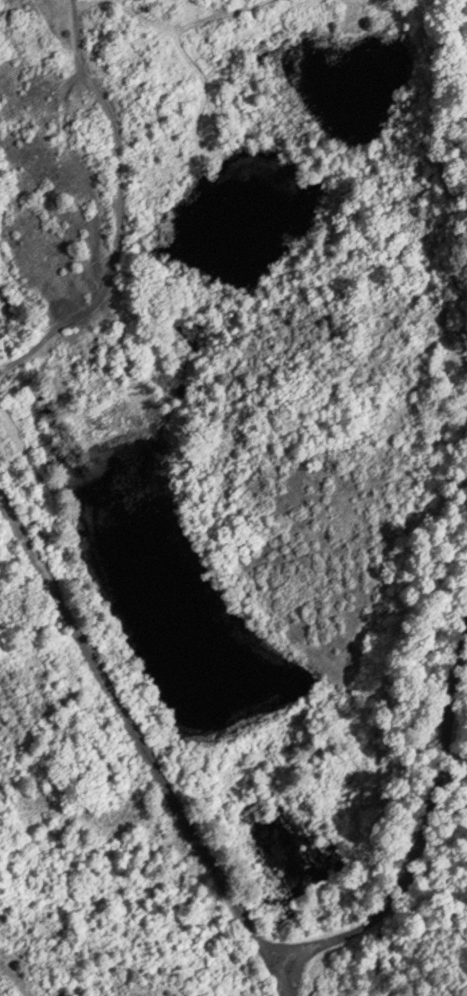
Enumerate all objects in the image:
road: (118, 209)
road: (139, 742)
road: (423, 831)
road: (290, 983)

